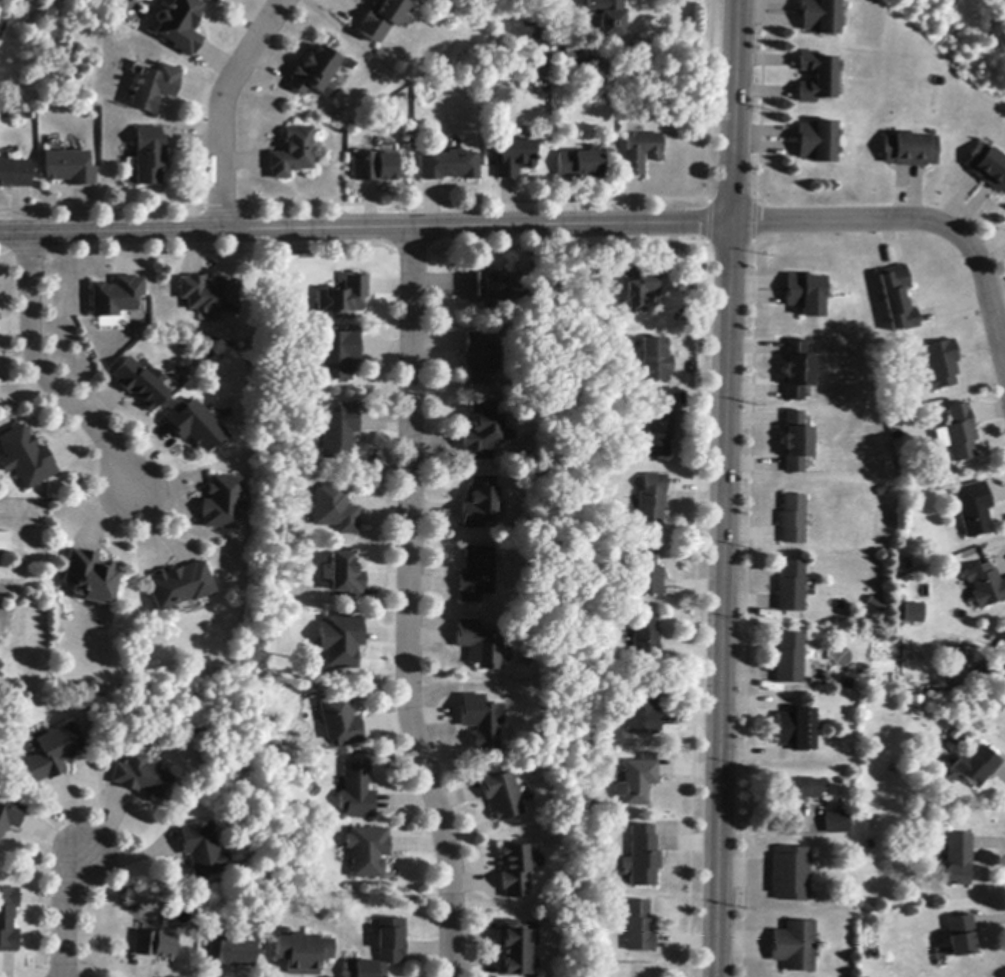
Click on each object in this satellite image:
building: (608, 16)
building: (820, 16)
building: (379, 18)
building: (180, 26)
building: (312, 73)
building: (816, 77)
building: (155, 87)
building: (490, 91)
road: (220, 106)
building: (816, 141)
building: (909, 150)
building: (640, 153)
building: (291, 154)
building: (150, 156)
building: (514, 159)
building: (580, 165)
building: (450, 166)
building: (374, 167)
building: (987, 167)
building: (69, 168)
building: (14, 174)
road: (917, 221)
road: (364, 228)
building: (483, 285)
building: (642, 292)
building: (806, 294)
building: (208, 296)
building: (117, 297)
building: (344, 297)
building: (897, 299)
building: (338, 355)
building: (480, 358)
building: (655, 361)
building: (942, 365)
building: (798, 371)
road: (43, 375)
building: (141, 384)
building: (195, 427)
building: (659, 429)
building: (340, 432)
building: (481, 433)
building: (961, 434)
building: (796, 443)
building: (26, 458)
road: (723, 488)
building: (651, 500)
building: (479, 503)
building: (220, 504)
building: (335, 509)
building: (974, 510)
building: (793, 520)
building: (5, 544)
building: (646, 572)
building: (476, 574)
building: (345, 576)
building: (90, 577)
building: (179, 586)
building: (986, 586)
building: (791, 588)
road: (410, 605)
building: (876, 605)
building: (915, 614)
building: (647, 640)
building: (340, 642)
building: (480, 646)
building: (790, 659)
building: (985, 674)
building: (643, 712)
building: (479, 720)
building: (340, 722)
building: (797, 730)
building: (52, 754)
building: (977, 767)
building: (142, 778)
building: (637, 782)
building: (800, 789)
building: (356, 791)
building: (501, 796)
building: (592, 807)
building: (10, 814)
building: (838, 824)
building: (201, 850)
building: (367, 851)
building: (644, 857)
building: (959, 859)
building: (516, 871)
building: (791, 874)
road: (65, 917)
building: (8, 920)
building: (639, 927)
building: (961, 936)
building: (155, 945)
building: (795, 946)
building: (383, 950)
building: (515, 950)
building: (231, 952)
building: (301, 953)

